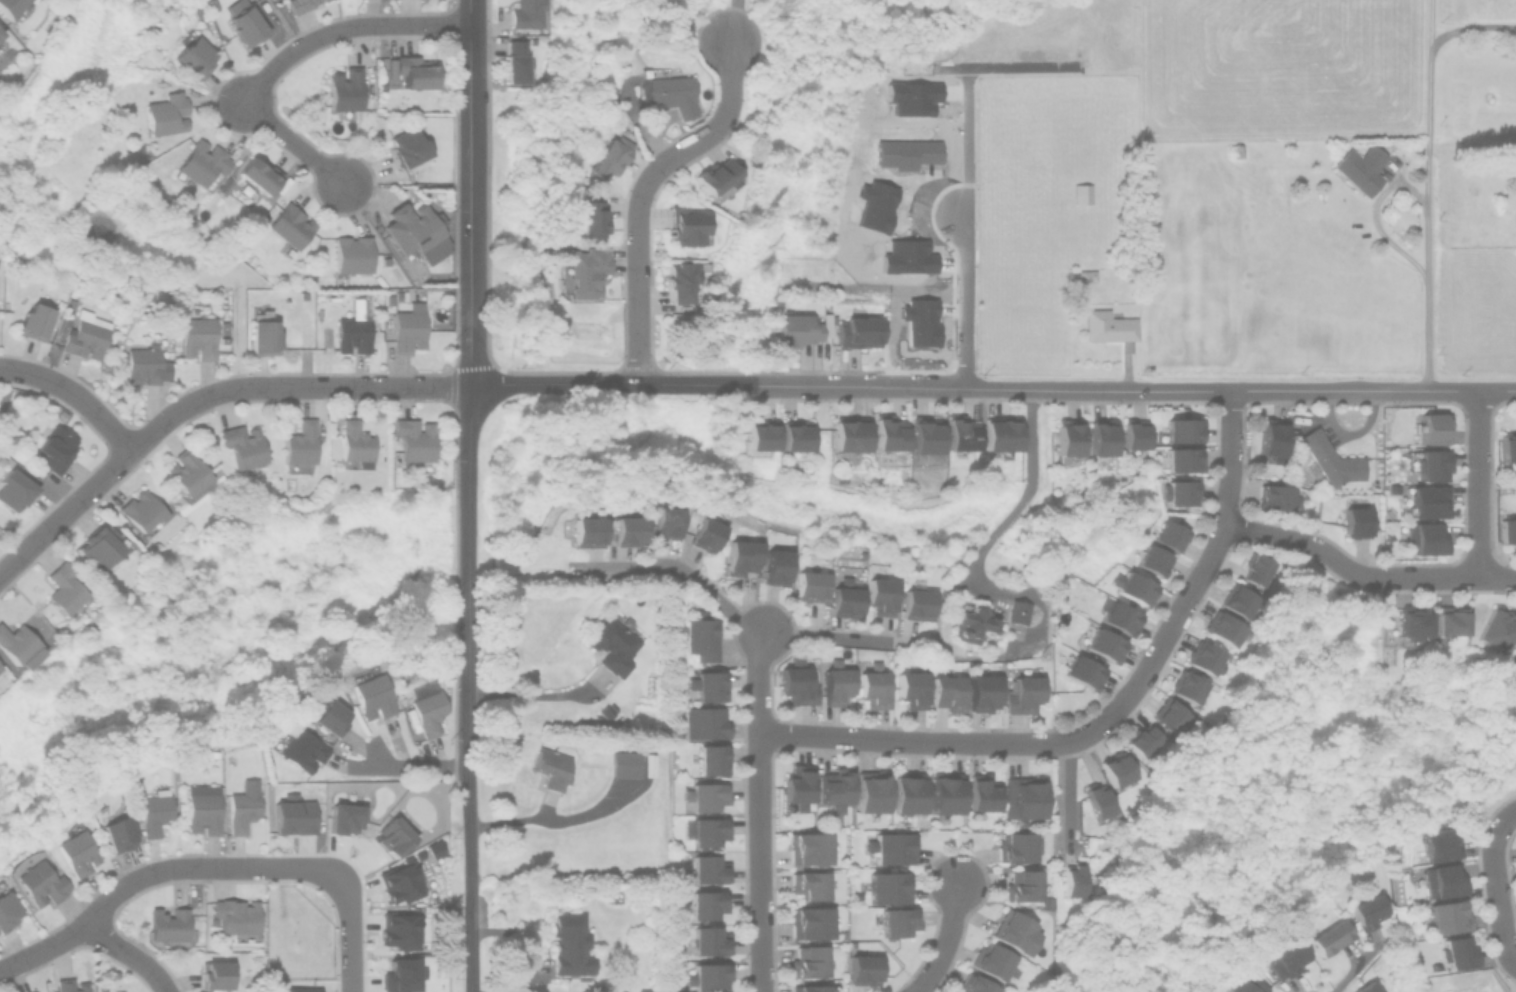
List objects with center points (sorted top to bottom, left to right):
building: (210, 4)
building: (295, 5)
building: (10, 8)
building: (197, 11)
building: (525, 13)
road: (733, 20)
building: (241, 25)
road: (1467, 27)
building: (0, 33)
building: (191, 56)
road: (285, 57)
building: (515, 61)
road: (1003, 65)
building: (414, 71)
building: (342, 89)
building: (666, 90)
building: (163, 113)
road: (966, 138)
building: (405, 146)
building: (1233, 149)
building: (905, 152)
building: (606, 155)
building: (199, 162)
building: (1359, 166)
building: (257, 175)
building: (714, 176)
building: (223, 183)
road: (643, 192)
building: (1080, 192)
road: (468, 193)
road: (1428, 194)
building: (186, 205)
building: (587, 218)
road: (1376, 218)
building: (288, 224)
building: (685, 224)
building: (414, 230)
building: (350, 253)
building: (582, 270)
building: (1085, 275)
building: (677, 279)
road: (964, 295)
building: (30, 319)
building: (1107, 325)
building: (406, 327)
building: (793, 330)
building: (857, 330)
building: (351, 331)
building: (196, 333)
building: (262, 333)
building: (84, 335)
building: (142, 364)
road: (604, 382)
road: (820, 385)
road: (1207, 390)
road: (74, 394)
road: (200, 397)
building: (56, 413)
building: (1433, 427)
building: (1179, 429)
building: (886, 431)
building: (960, 431)
building: (847, 432)
building: (923, 433)
building: (999, 433)
building: (793, 435)
building: (1133, 435)
building: (1066, 436)
building: (1099, 436)
building: (756, 437)
building: (1270, 440)
building: (411, 443)
building: (353, 444)
building: (298, 446)
building: (51, 447)
building: (242, 447)
building: (1508, 447)
road: (1230, 458)
building: (1179, 459)
building: (1329, 460)
building: (1429, 463)
building: (185, 474)
road: (1477, 483)
building: (13, 487)
building: (1178, 492)
road: (1024, 496)
building: (1276, 497)
building: (1425, 500)
building: (140, 512)
building: (663, 521)
building: (1356, 522)
building: (626, 529)
building: (586, 531)
road: (1248, 531)
building: (1508, 532)
building: (704, 534)
building: (1169, 535)
building: (1425, 538)
building: (97, 549)
building: (739, 556)
building: (1153, 560)
building: (773, 563)
building: (1254, 569)
road: (468, 582)
building: (807, 585)
building: (1132, 587)
building: (61, 590)
building: (879, 595)
building: (843, 599)
building: (915, 601)
building: (1237, 603)
building: (1017, 611)
road: (731, 615)
building: (1119, 618)
building: (1414, 619)
building: (1452, 619)
building: (971, 622)
building: (1498, 626)
building: (1223, 629)
building: (698, 636)
building: (14, 642)
building: (613, 642)
building: (1103, 645)
building: (1515, 655)
building: (1205, 657)
building: (1082, 671)
building: (794, 683)
building: (834, 683)
building: (704, 685)
building: (1187, 685)
building: (872, 686)
building: (910, 689)
building: (1022, 689)
building: (945, 692)
building: (981, 692)
road: (536, 695)
building: (369, 696)
building: (605, 709)
building: (424, 711)
building: (1170, 713)
building: (323, 715)
building: (703, 722)
building: (1140, 738)
road: (922, 741)
building: (297, 748)
building: (710, 759)
building: (623, 764)
building: (647, 764)
road: (400, 767)
building: (549, 767)
building: (1115, 767)
building: (114, 779)
building: (795, 787)
building: (834, 787)
building: (869, 790)
building: (906, 791)
building: (944, 791)
building: (981, 791)
building: (702, 794)
building: (1022, 796)
road: (1067, 797)
building: (1096, 799)
building: (241, 806)
building: (201, 808)
road: (759, 810)
building: (152, 812)
building: (292, 815)
building: (342, 817)
building: (905, 819)
road: (554, 820)
building: (706, 830)
building: (117, 833)
building: (392, 837)
building: (1439, 842)
building: (891, 846)
building: (1015, 846)
building: (807, 847)
building: (75, 849)
building: (707, 868)
road: (156, 871)
building: (1072, 878)
building: (1444, 879)
building: (37, 883)
building: (400, 883)
building: (807, 883)
road: (470, 884)
building: (1022, 884)
road: (1495, 885)
building: (887, 886)
building: (705, 903)
building: (7, 907)
building: (1368, 910)
building: (1449, 915)
building: (235, 918)
building: (896, 920)
building: (808, 921)
building: (166, 928)
building: (400, 930)
building: (1014, 930)
road: (349, 936)
building: (1330, 936)
building: (708, 940)
road: (945, 941)
building: (568, 943)
building: (1457, 951)
road: (130, 953)
building: (1286, 956)
building: (807, 961)
building: (992, 961)
building: (861, 968)
building: (215, 974)
road: (1350, 974)
building: (401, 975)
building: (707, 976)
building: (1242, 983)
building: (972, 984)
building: (68, 985)
building: (1367, 987)
building: (99, 988)
building: (808, 988)
building: (300, 989)
building: (642, 990)
building: (29, 991)
building: (33, 991)

